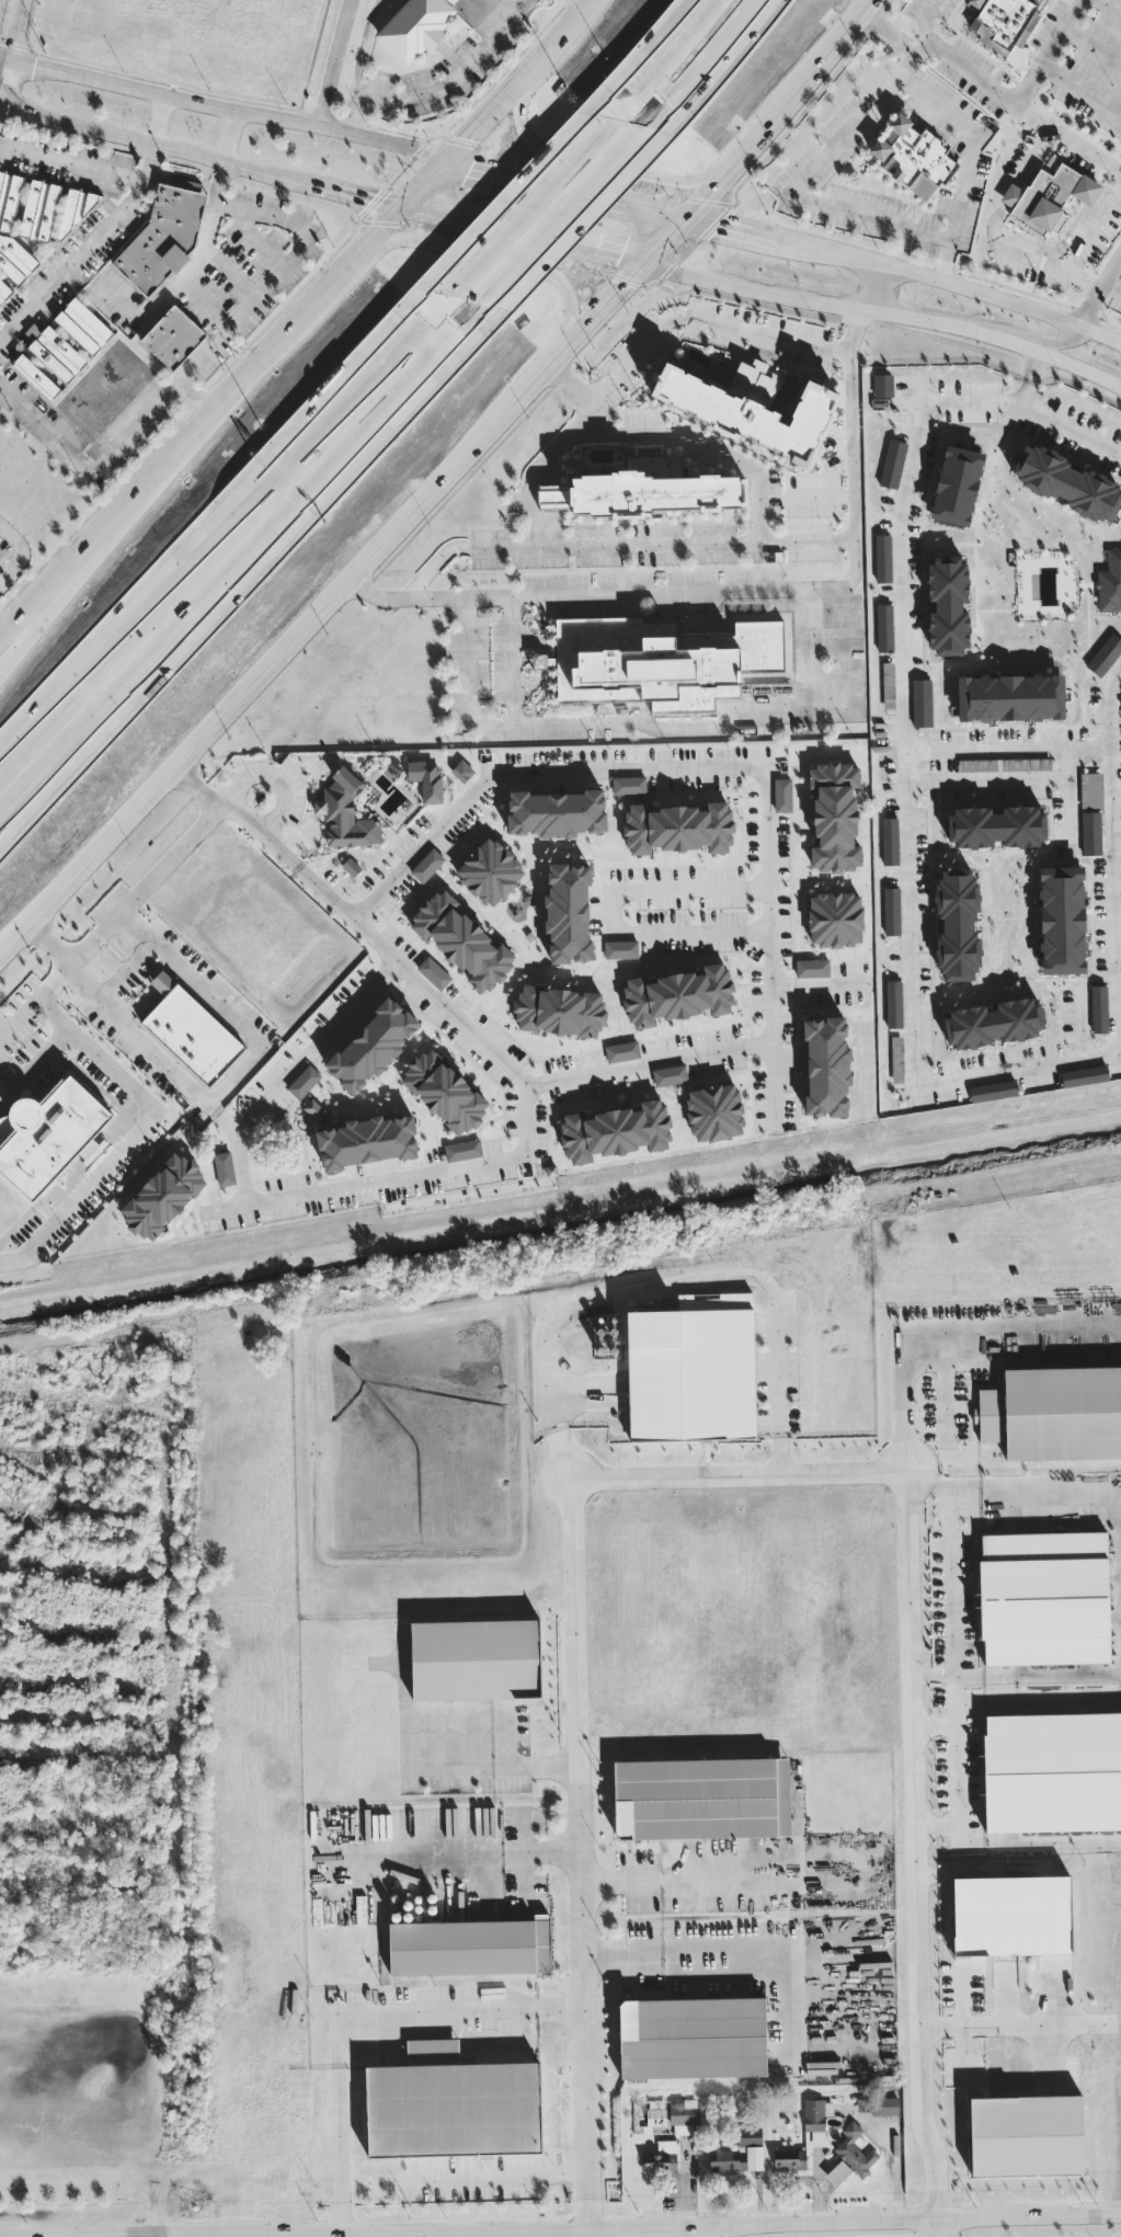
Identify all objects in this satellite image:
road: (587, 3)
road: (1114, 3)
road: (586, 12)
building: (999, 21)
building: (415, 26)
road: (670, 44)
road: (924, 47)
road: (1090, 47)
road: (1046, 50)
road: (14, 53)
road: (547, 57)
road: (707, 60)
traffic signals: (35, 61)
road: (334, 62)
road: (1082, 85)
road: (438, 89)
road: (1005, 94)
road: (0, 105)
road: (228, 105)
road: (159, 116)
road: (490, 121)
road: (232, 134)
road: (159, 144)
traffic signals: (459, 152)
road: (1033, 152)
road: (821, 156)
building: (912, 157)
road: (965, 160)
road: (660, 163)
road: (95, 167)
road: (546, 172)
road: (721, 172)
road: (431, 178)
road: (361, 192)
road: (1010, 192)
building: (9, 198)
building: (1048, 198)
road: (525, 199)
road: (663, 199)
traffic signals: (403, 203)
traffic signals: (694, 207)
building: (39, 209)
road: (432, 209)
road: (735, 219)
road: (1094, 227)
road: (557, 228)
building: (163, 237)
road: (552, 240)
road: (828, 247)
road: (470, 252)
building: (14, 259)
road: (1027, 259)
road: (73, 260)
road: (294, 260)
traffic signals: (643, 263)
road: (233, 269)
road: (869, 285)
road: (1098, 287)
road: (1111, 287)
building: (3, 290)
road: (168, 290)
road: (1002, 297)
road: (205, 301)
road: (821, 303)
road: (704, 319)
building: (83, 326)
building: (172, 336)
road: (1060, 339)
road: (1019, 342)
building: (57, 354)
road: (551, 357)
road: (1032, 364)
road: (1079, 367)
building: (36, 376)
building: (882, 385)
road: (1023, 391)
building: (750, 412)
road: (203, 425)
road: (705, 442)
road: (105, 455)
building: (892, 463)
building: (1066, 481)
building: (957, 484)
building: (651, 493)
road: (531, 507)
road: (208, 530)
road: (702, 541)
road: (19, 553)
building: (882, 558)
road: (227, 579)
building: (1109, 582)
road: (734, 587)
building: (948, 605)
road: (39, 617)
building: (884, 627)
road: (528, 636)
road: (811, 649)
building: (1105, 654)
road: (511, 659)
building: (544, 660)
road: (539, 661)
building: (660, 662)
road: (268, 666)
building: (888, 684)
road: (529, 685)
building: (1010, 697)
building: (922, 703)
road: (660, 729)
road: (1007, 745)
road: (708, 762)
building: (1004, 764)
building: (461, 771)
road: (987, 777)
building: (426, 779)
road: (270, 780)
building: (629, 785)
building: (1091, 789)
building: (782, 795)
road: (1116, 796)
road: (218, 799)
road: (1068, 800)
building: (345, 812)
building: (557, 812)
building: (834, 817)
building: (996, 826)
building: (678, 828)
building: (1090, 833)
building: (890, 841)
building: (426, 865)
building: (490, 871)
road: (613, 910)
building: (892, 911)
building: (568, 912)
road: (110, 917)
building: (835, 918)
building: (1062, 920)
building: (958, 924)
road: (910, 934)
building: (462, 940)
building: (620, 949)
road: (1118, 957)
building: (812, 968)
road: (124, 970)
building: (434, 972)
road: (814, 984)
building: (678, 995)
road: (209, 1002)
building: (893, 1004)
building: (1099, 1008)
building: (559, 1011)
road: (116, 1013)
road: (1080, 1018)
building: (994, 1023)
building: (190, 1031)
building: (373, 1045)
road: (312, 1047)
building: (621, 1051)
road: (648, 1061)
building: (826, 1065)
road: (37, 1069)
building: (670, 1074)
building: (1084, 1075)
building: (304, 1082)
building: (993, 1091)
building: (444, 1092)
road: (525, 1096)
building: (316, 1111)
building: (714, 1111)
building: (615, 1131)
road: (135, 1132)
building: (47, 1134)
building: (367, 1141)
building: (462, 1150)
road: (237, 1152)
building: (224, 1168)
building: (163, 1196)
road: (671, 1286)
building: (606, 1337)
road: (1061, 1337)
road: (903, 1366)
building: (693, 1369)
road: (943, 1396)
building: (1054, 1413)
road: (739, 1474)
road: (935, 1487)
road: (1105, 1490)
road: (953, 1583)
building: (1044, 1598)
building: (476, 1659)
road: (1065, 1675)
road: (959, 1676)
road: (934, 1724)
road: (494, 1764)
building: (1052, 1771)
road: (957, 1772)
building: (701, 1797)
road: (542, 1851)
road: (420, 1856)
road: (770, 1876)
road: (620, 1883)
building: (1011, 1915)
road: (796, 1939)
building: (470, 1947)
road: (624, 1952)
road: (359, 2018)
road: (1009, 2029)
building: (691, 2038)
building: (451, 2104)
building: (879, 2105)
building: (813, 2114)
building: (683, 2116)
building: (1026, 2135)
building: (855, 2150)
building: (741, 2152)
building: (661, 2157)
building: (789, 2158)
building: (837, 2172)
road: (505, 2175)
road: (889, 2223)
road: (622, 2229)
road: (937, 2229)
road: (424, 2230)
road: (227, 2232)
road: (96, 2234)
road: (192, 2234)
road: (588, 2234)

